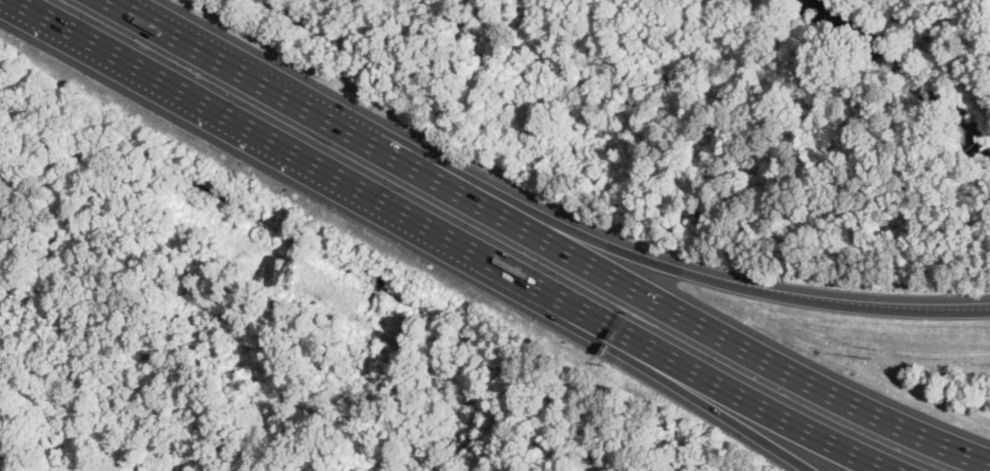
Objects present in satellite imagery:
road: (943, 51)
road: (224, 59)
road: (315, 158)
road: (646, 257)
road: (655, 299)
road: (753, 396)
road: (703, 398)
railway: (5, 451)

